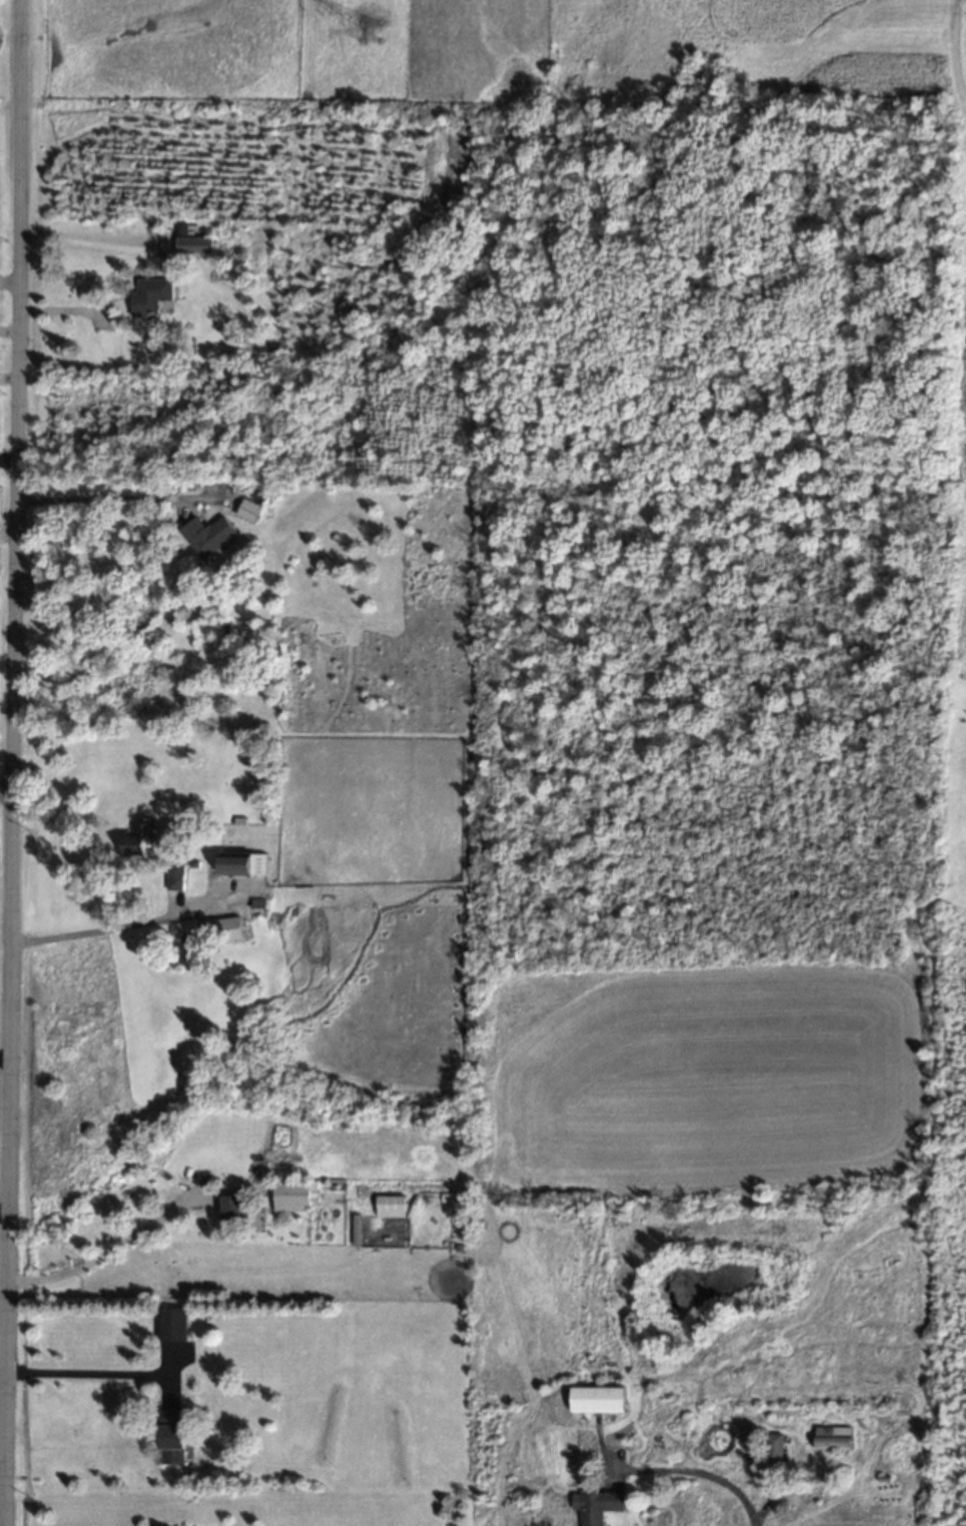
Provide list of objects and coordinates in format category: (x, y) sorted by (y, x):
power tower: (362, 43)
crop: (840, 47)
road: (93, 231)
building: (191, 243)
road: (9, 285)
building: (150, 296)
road: (9, 335)
crop: (961, 497)
road: (98, 502)
building: (248, 511)
building: (208, 536)
road: (7, 541)
road: (11, 762)
road: (5, 786)
building: (139, 837)
building: (243, 864)
building: (175, 878)
building: (225, 930)
road: (97, 934)
crop: (576, 1013)
road: (4, 1062)
building: (293, 1197)
building: (390, 1207)
building: (230, 1209)
road: (100, 1259)
road: (2, 1307)
building: (173, 1325)
road: (80, 1378)
building: (597, 1400)
building: (172, 1438)
building: (831, 1439)
building: (773, 1449)
road: (704, 1479)
building: (596, 1506)

